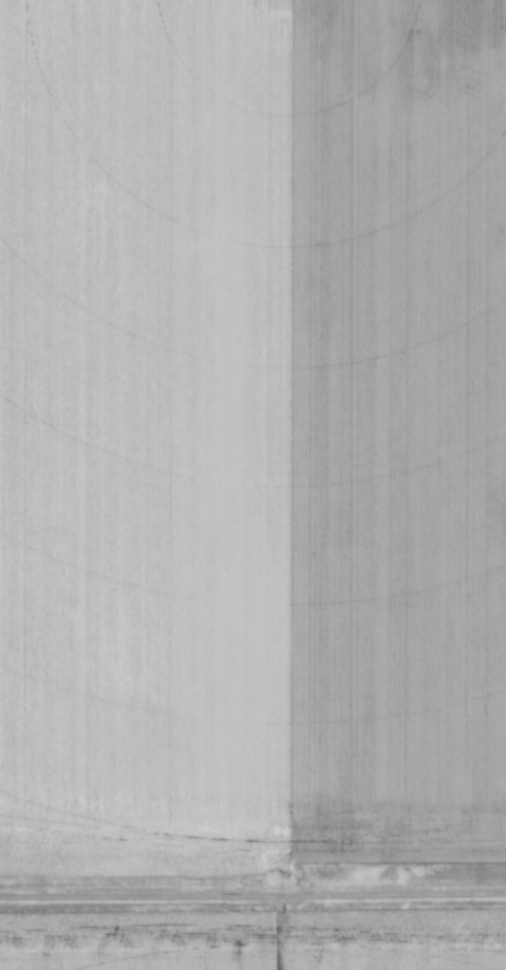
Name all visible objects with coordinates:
road: (253, 900)

